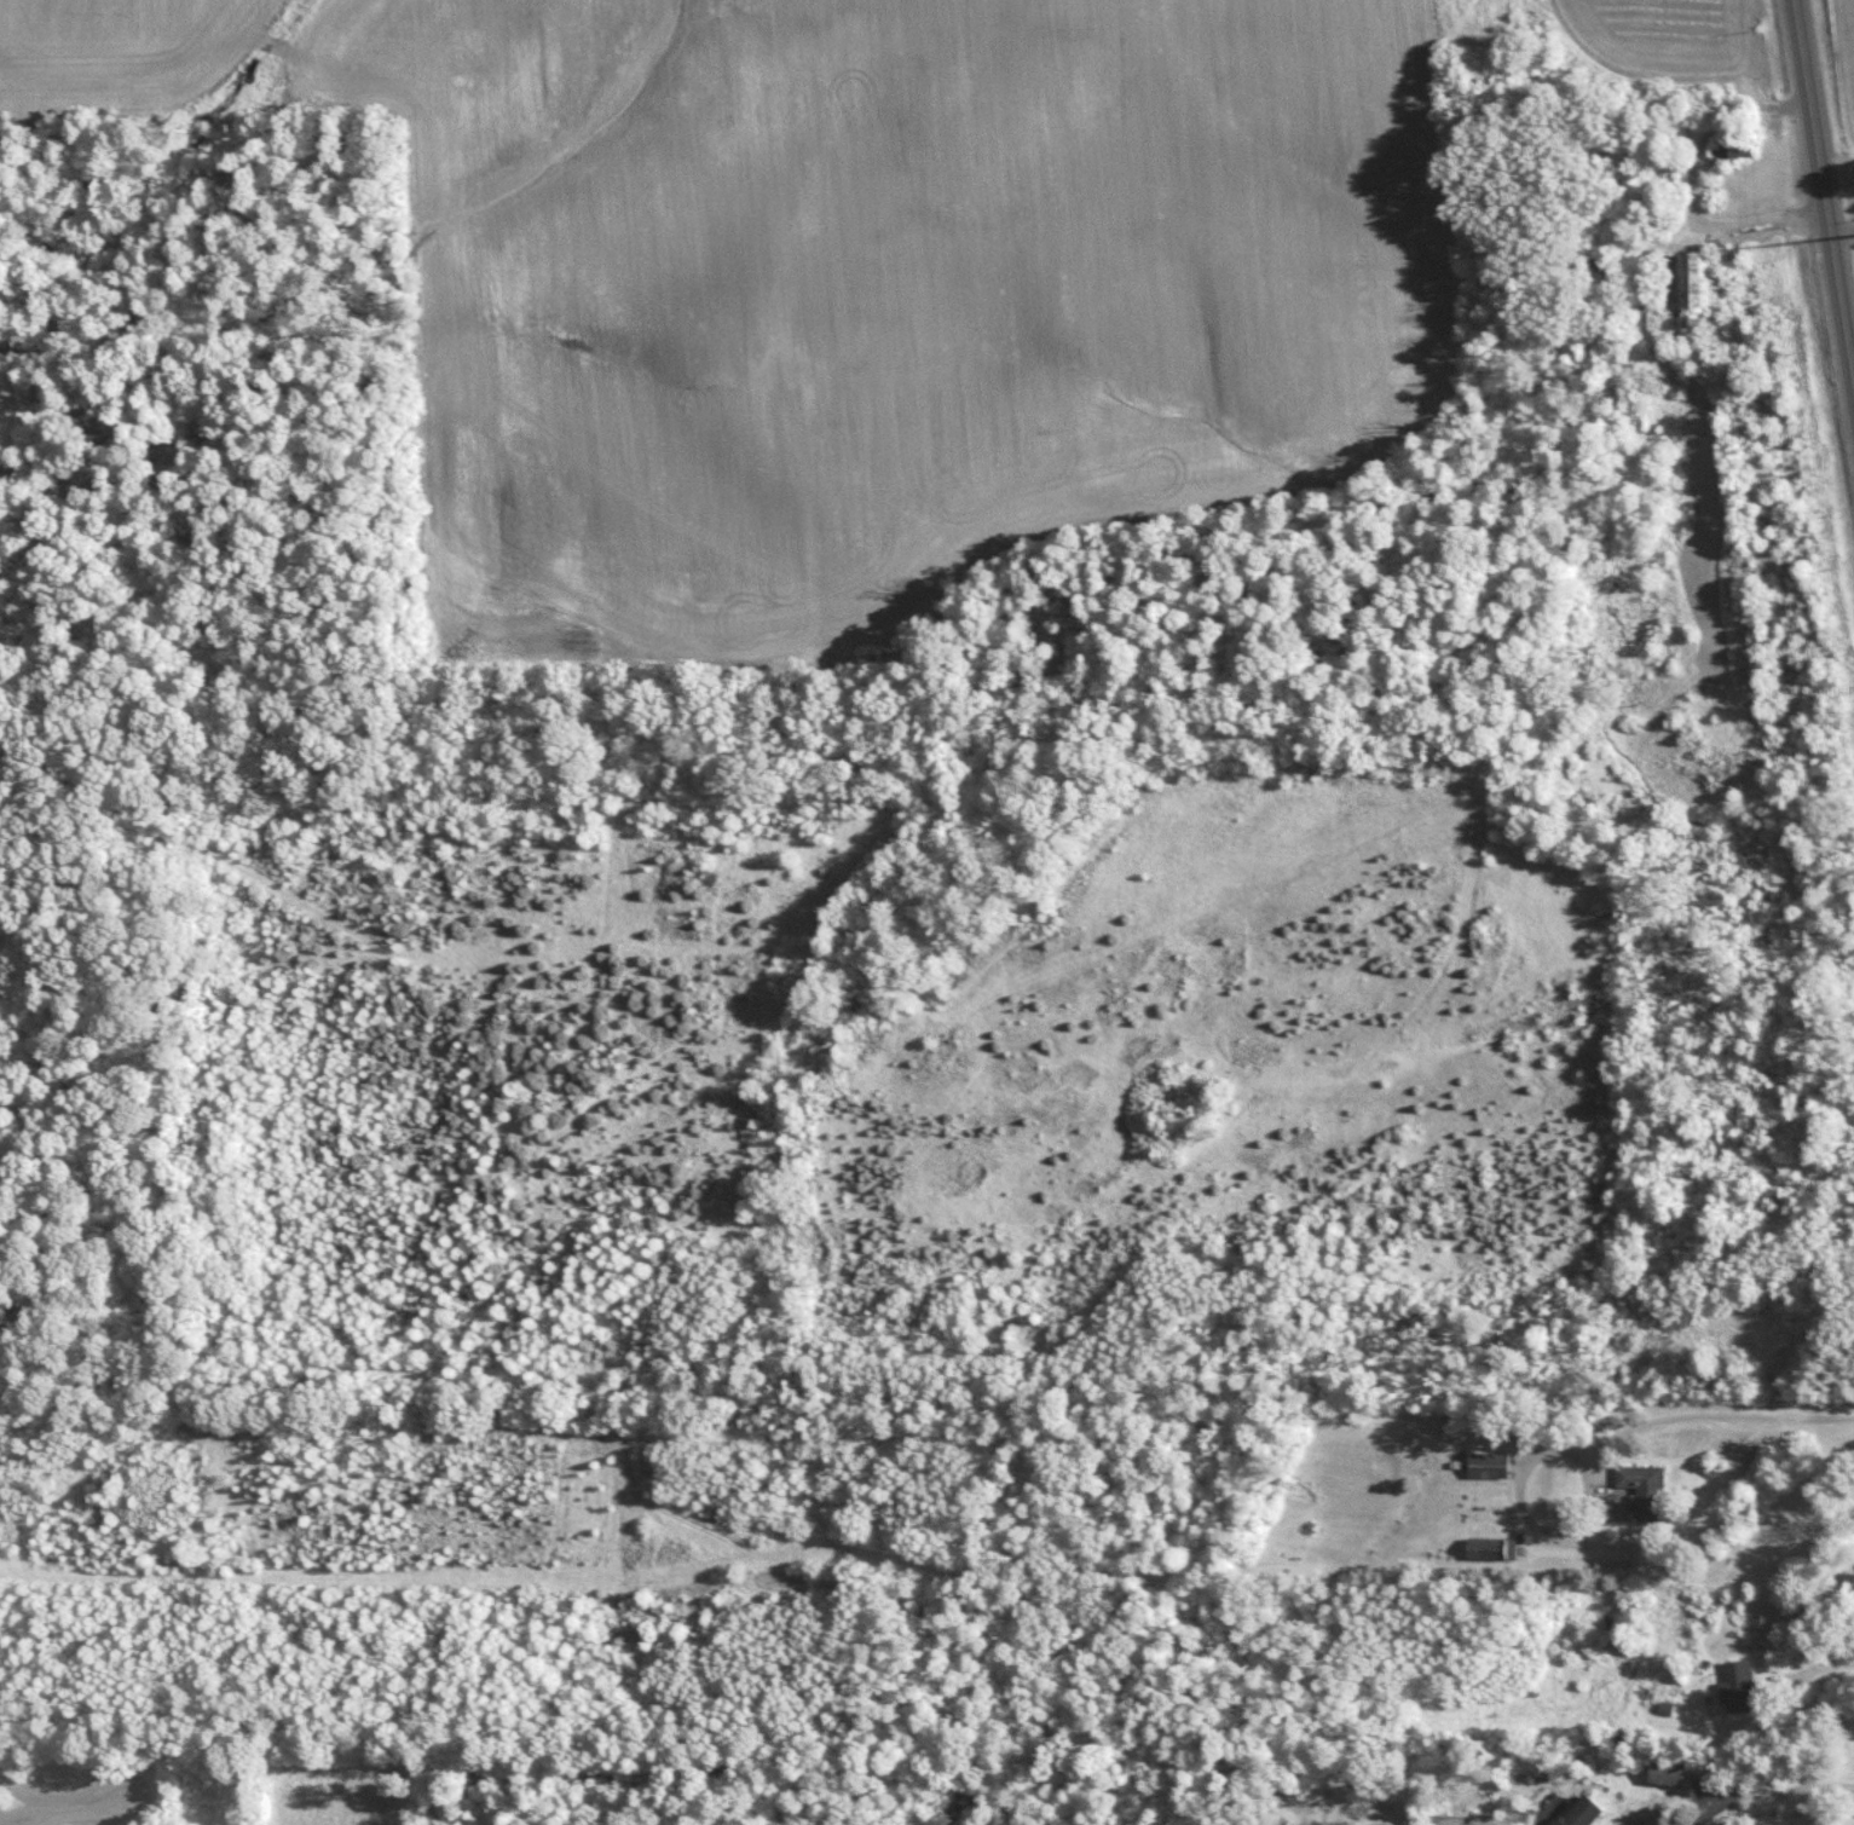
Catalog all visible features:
road: (1690, 184)
road: (1823, 190)
building: (1686, 281)
road: (1713, 1416)
building: (1488, 1463)
building: (1641, 1486)
road: (1558, 1525)
building: (1490, 1546)
road: (1832, 1664)
building: (1737, 1683)
building: (1664, 1771)
road: (1771, 1795)
building: (1579, 1810)

